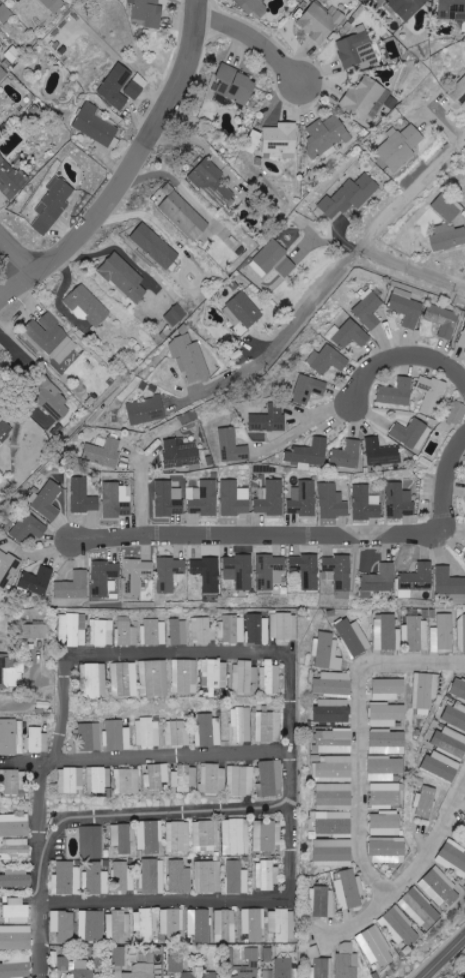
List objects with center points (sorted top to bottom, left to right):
building: (54, 4)
building: (254, 6)
building: (408, 7)
building: (452, 9)
building: (148, 12)
building: (5, 13)
building: (320, 22)
road: (253, 38)
building: (357, 49)
building: (13, 54)
building: (2, 73)
building: (236, 84)
building: (116, 86)
building: (136, 86)
building: (459, 92)
building: (369, 98)
building: (1, 110)
building: (95, 124)
building: (326, 135)
building: (282, 139)
road: (201, 143)
building: (252, 145)
building: (400, 146)
road: (129, 169)
building: (11, 179)
building: (213, 182)
building: (349, 196)
building: (52, 205)
building: (447, 207)
building: (182, 214)
building: (447, 237)
road: (364, 245)
building: (155, 246)
building: (237, 246)
road: (18, 255)
building: (273, 260)
road: (414, 264)
building: (125, 277)
building: (87, 305)
building: (406, 307)
building: (369, 310)
building: (242, 311)
building: (176, 315)
building: (443, 320)
building: (351, 334)
building: (51, 338)
building: (462, 339)
road: (398, 352)
building: (190, 358)
building: (328, 360)
road: (230, 376)
building: (310, 389)
building: (397, 392)
building: (432, 394)
building: (57, 406)
building: (146, 410)
building: (455, 415)
building: (270, 419)
building: (5, 429)
road: (303, 431)
building: (412, 434)
building: (233, 447)
building: (382, 452)
building: (103, 453)
building: (310, 453)
building: (182, 454)
building: (348, 455)
building: (83, 497)
building: (204, 498)
building: (234, 498)
building: (169, 499)
building: (271, 499)
building: (303, 499)
building: (117, 500)
building: (399, 500)
building: (48, 501)
building: (332, 501)
building: (366, 503)
building: (30, 528)
road: (302, 529)
road: (452, 531)
building: (7, 568)
building: (306, 570)
building: (239, 571)
building: (269, 571)
building: (338, 571)
building: (170, 573)
building: (208, 573)
building: (136, 575)
building: (104, 578)
building: (416, 579)
building: (379, 580)
building: (37, 581)
building: (450, 585)
building: (73, 586)
building: (284, 626)
building: (233, 628)
building: (75, 629)
building: (258, 629)
building: (203, 630)
building: (38, 631)
building: (102, 632)
building: (154, 632)
building: (179, 632)
building: (400, 632)
building: (444, 632)
building: (125, 633)
building: (462, 636)
building: (354, 637)
building: (326, 651)
road: (293, 670)
building: (10, 674)
building: (213, 675)
building: (184, 676)
building: (243, 676)
building: (270, 677)
building: (153, 678)
building: (122, 679)
building: (92, 681)
building: (333, 683)
building: (459, 688)
building: (388, 689)
building: (427, 690)
road: (30, 694)
building: (332, 710)
building: (387, 715)
building: (455, 716)
building: (240, 724)
building: (267, 726)
building: (209, 730)
building: (147, 732)
building: (177, 733)
road: (357, 735)
building: (116, 736)
building: (11, 737)
building: (89, 737)
building: (38, 740)
building: (332, 741)
building: (451, 741)
building: (388, 742)
road: (174, 758)
building: (442, 766)
building: (334, 768)
building: (385, 768)
building: (157, 776)
building: (185, 777)
building: (100, 779)
building: (213, 779)
building: (271, 779)
building: (72, 780)
building: (241, 780)
building: (14, 781)
building: (127, 781)
building: (334, 794)
building: (385, 795)
building: (425, 802)
road: (169, 817)
building: (386, 823)
building: (14, 825)
building: (205, 835)
building: (177, 836)
building: (266, 836)
building: (123, 837)
building: (149, 837)
building: (235, 837)
building: (91, 842)
building: (18, 847)
building: (388, 850)
building: (334, 852)
building: (452, 857)
road: (410, 872)
building: (123, 876)
building: (153, 876)
building: (208, 876)
building: (266, 876)
building: (179, 877)
building: (15, 878)
building: (237, 878)
building: (66, 879)
building: (96, 879)
building: (442, 887)
building: (350, 890)
building: (323, 902)
building: (420, 907)
building: (16, 910)
building: (172, 923)
building: (199, 924)
building: (252, 924)
building: (281, 924)
building: (62, 925)
building: (90, 925)
building: (117, 925)
building: (145, 925)
building: (402, 925)
building: (225, 926)
building: (16, 938)
road: (43, 942)
building: (374, 946)
building: (268, 954)
building: (118, 956)
road: (443, 958)
building: (347, 961)
building: (63, 962)
building: (176, 962)
building: (249, 964)
building: (320, 964)
building: (15, 967)
building: (283, 968)
building: (81, 970)
building: (141, 971)
building: (268, 973)
building: (199, 974)

